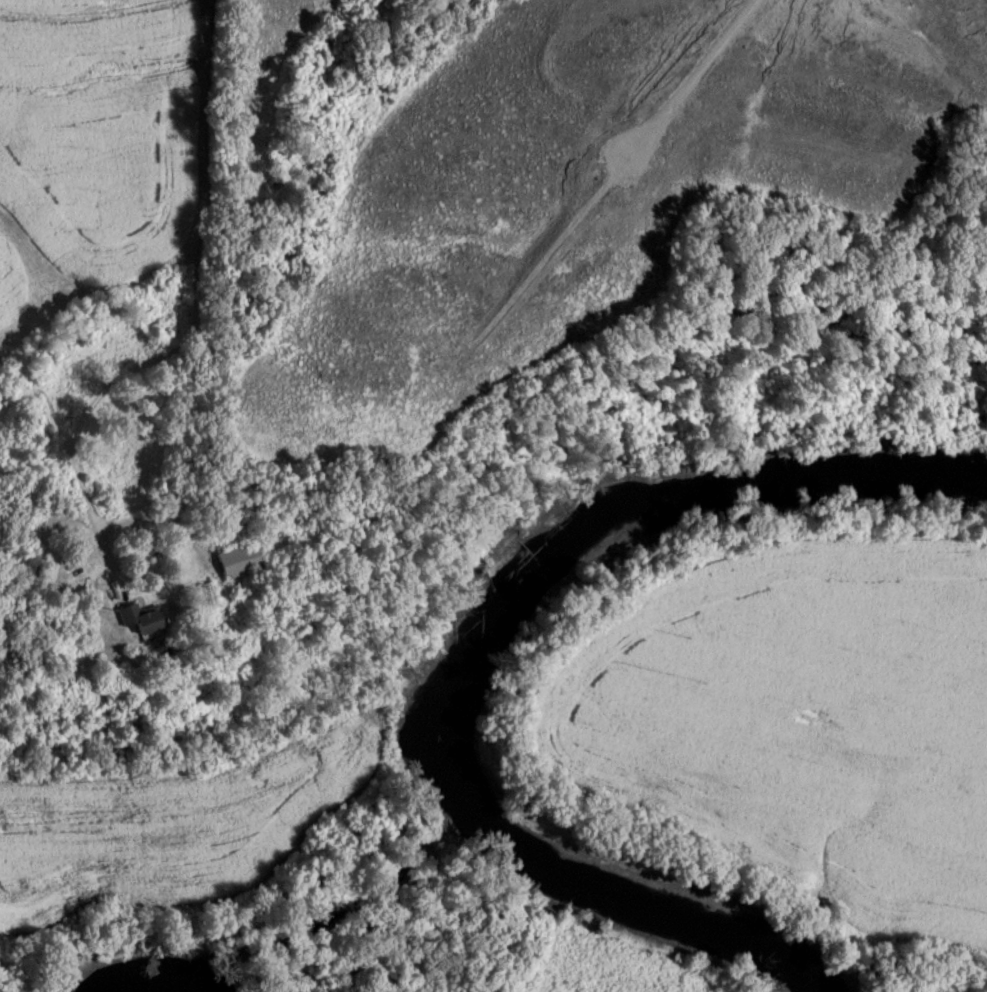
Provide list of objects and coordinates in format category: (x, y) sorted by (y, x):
road: (196, 326)
building: (240, 562)
building: (144, 619)

